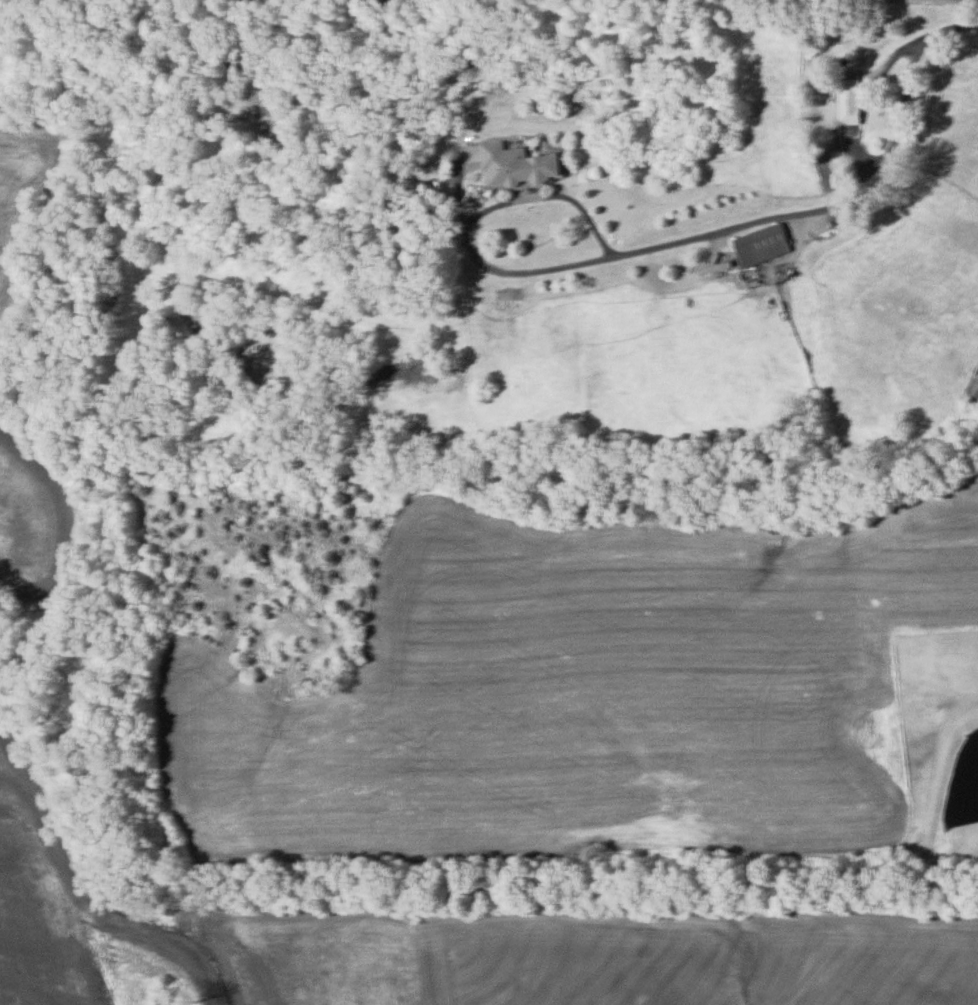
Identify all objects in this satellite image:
building: (850, 99)
building: (519, 165)
road: (736, 233)
building: (763, 244)
building: (152, 470)

